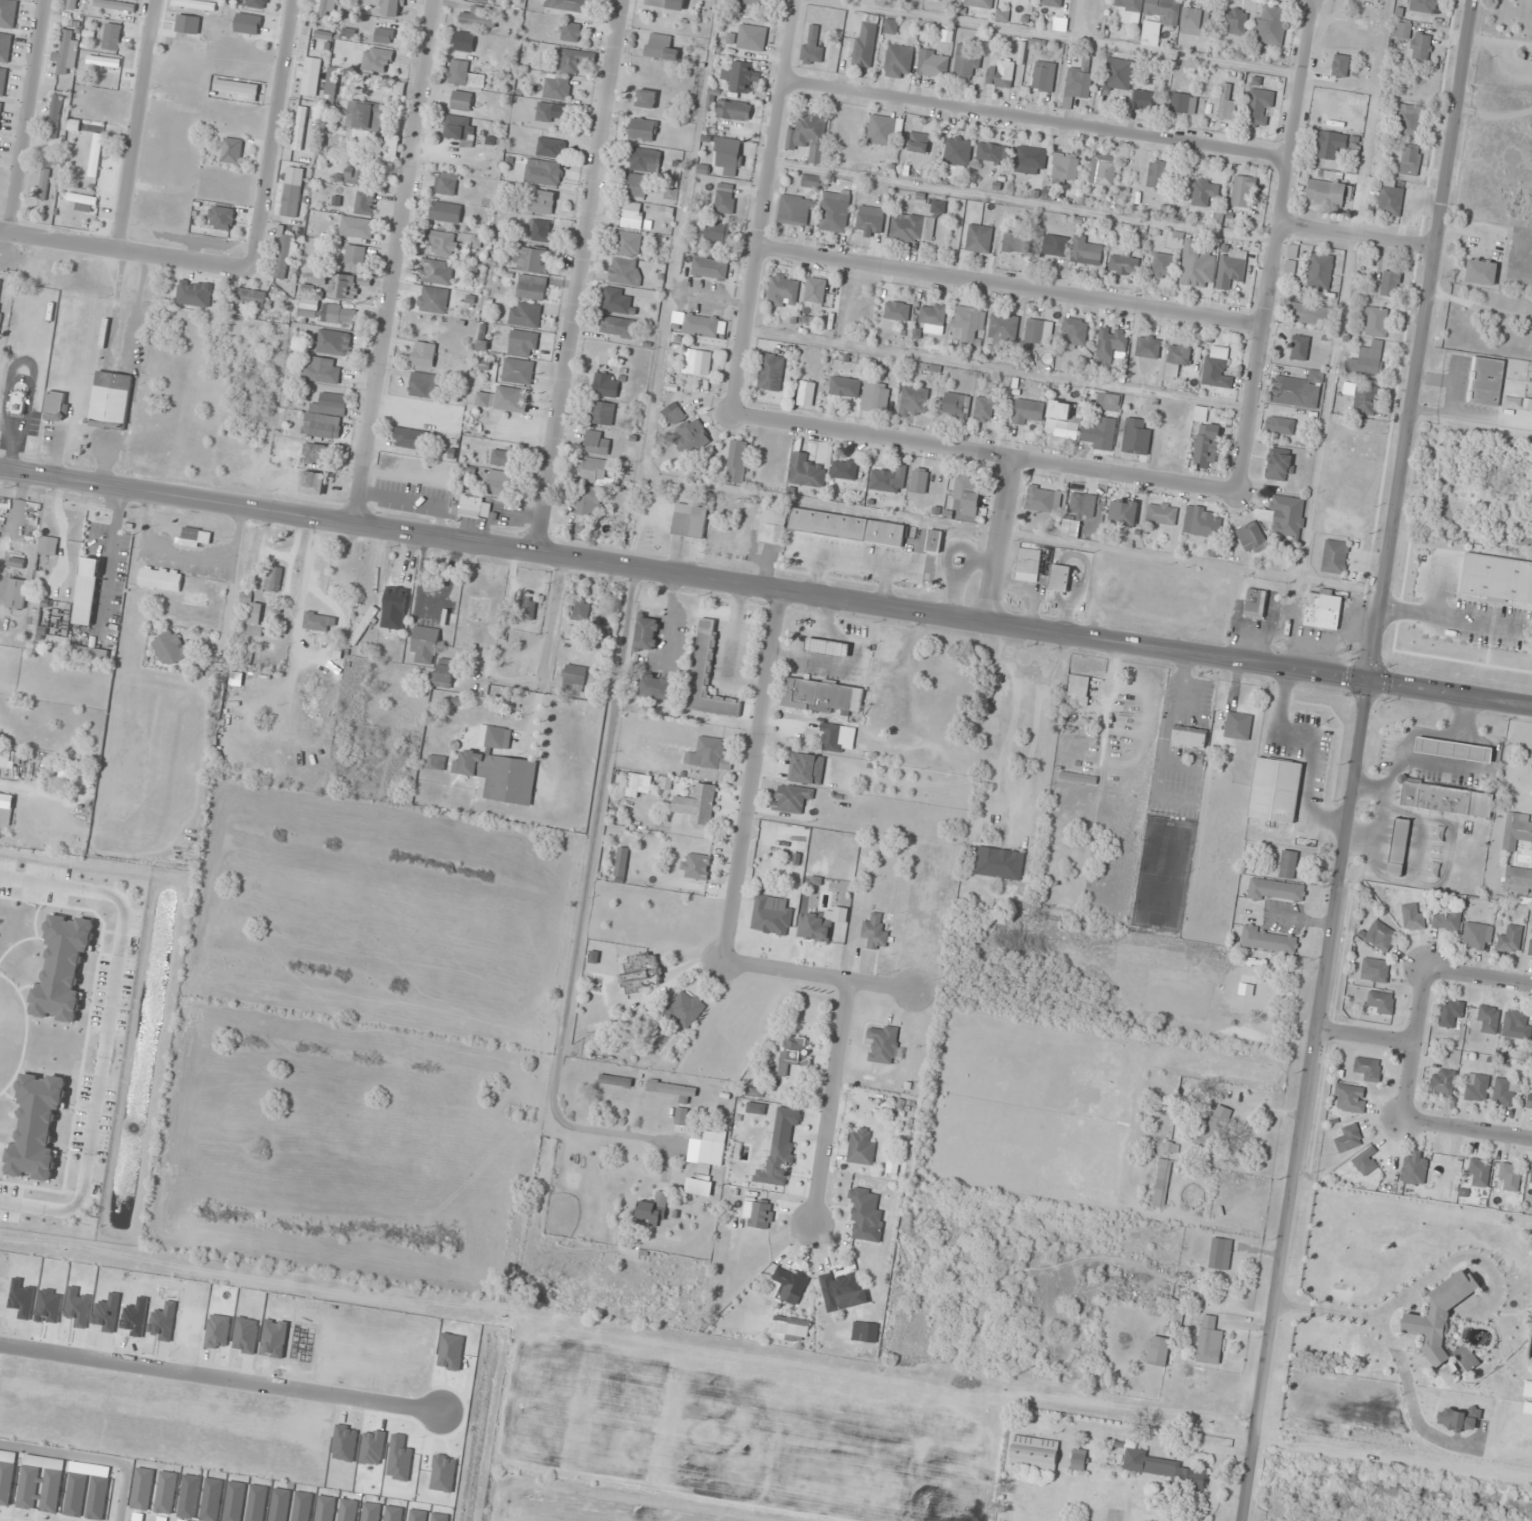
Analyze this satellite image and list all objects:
building: (482, 1)
building: (756, 2)
building: (979, 3)
building: (1052, 3)
building: (72, 4)
building: (256, 4)
building: (665, 4)
building: (572, 5)
building: (1424, 6)
building: (325, 8)
building: (393, 8)
building: (1128, 10)
building: (1162, 10)
building: (7, 13)
building: (478, 18)
building: (1195, 21)
building: (1235, 21)
building: (1375, 24)
building: (1271, 25)
building: (890, 26)
building: (570, 32)
building: (751, 38)
building: (865, 41)
building: (1415, 41)
building: (464, 42)
building: (5, 47)
building: (660, 47)
building: (66, 53)
building: (379, 53)
building: (573, 60)
building: (898, 61)
building: (966, 62)
building: (933, 64)
building: (1001, 74)
building: (1117, 74)
building: (464, 75)
building: (742, 76)
building: (1043, 77)
building: (2, 81)
building: (1078, 82)
building: (331, 83)
building: (236, 87)
building: (557, 88)
building: (646, 99)
building: (1144, 100)
building: (461, 101)
building: (1226, 103)
building: (1183, 104)
building: (0, 108)
building: (1259, 108)
building: (733, 110)
building: (552, 113)
road: (24, 116)
building: (54, 118)
building: (365, 118)
road: (1040, 121)
building: (1411, 122)
road: (133, 125)
building: (300, 128)
building: (460, 130)
building: (642, 130)
building: (884, 130)
road: (271, 133)
building: (809, 137)
building: (918, 142)
building: (1326, 145)
building: (550, 148)
building: (391, 149)
building: (231, 151)
building: (990, 153)
building: (727, 155)
building: (958, 156)
building: (643, 159)
building: (1030, 160)
building: (1410, 162)
building: (1065, 168)
building: (1103, 170)
building: (543, 173)
building: (1156, 174)
building: (355, 175)
building: (817, 182)
building: (446, 183)
building: (43, 184)
building: (636, 186)
building: (1204, 192)
building: (1243, 192)
building: (1328, 193)
building: (725, 198)
building: (290, 200)
building: (1390, 201)
building: (364, 203)
building: (543, 203)
road: (765, 205)
building: (794, 211)
building: (445, 212)
building: (834, 212)
building: (630, 215)
building: (869, 223)
building: (356, 228)
building: (912, 228)
building: (540, 231)
building: (717, 232)
road: (1357, 233)
building: (978, 239)
building: (442, 243)
building: (1016, 243)
building: (627, 244)
road: (1277, 245)
building: (1055, 246)
road: (125, 251)
building: (1086, 252)
building: (283, 257)
building: (353, 259)
building: (533, 260)
road: (391, 261)
building: (1123, 265)
building: (1162, 266)
building: (709, 267)
building: (1231, 267)
building: (1194, 268)
building: (1320, 271)
building: (437, 272)
building: (624, 272)
building: (1481, 272)
road: (579, 276)
building: (1390, 284)
building: (344, 287)
building: (531, 288)
road: (1011, 288)
building: (1, 289)
building: (783, 290)
building: (815, 291)
building: (250, 298)
building: (434, 300)
building: (618, 302)
building: (308, 308)
building: (896, 311)
building: (1310, 314)
building: (340, 315)
building: (525, 315)
building: (932, 315)
building: (1375, 322)
building: (969, 324)
building: (700, 325)
building: (617, 327)
building: (1002, 331)
building: (1074, 332)
building: (1032, 333)
building: (333, 343)
building: (522, 343)
building: (1109, 344)
building: (1147, 347)
building: (1299, 348)
building: (424, 355)
building: (1177, 358)
building: (699, 363)
building: (1365, 363)
building: (321, 370)
building: (517, 371)
building: (771, 372)
building: (1215, 373)
building: (1486, 381)
building: (423, 385)
building: (606, 385)
building: (1298, 391)
building: (806, 394)
building: (875, 397)
building: (511, 399)
building: (1365, 399)
building: (111, 400)
building: (483, 400)
building: (914, 402)
building: (1108, 403)
building: (1518, 403)
building: (56, 406)
building: (956, 407)
building: (983, 410)
building: (1028, 412)
building: (602, 414)
building: (673, 415)
building: (326, 417)
building: (1060, 421)
building: (1280, 425)
building: (1100, 434)
building: (692, 437)
building: (1136, 438)
building: (410, 439)
building: (597, 443)
building: (1362, 444)
building: (1206, 446)
building: (315, 453)
road: (983, 454)
building: (503, 458)
building: (736, 464)
building: (1280, 466)
building: (592, 470)
building: (843, 470)
building: (806, 472)
building: (888, 481)
building: (919, 481)
building: (312, 483)
building: (499, 483)
building: (967, 491)
building: (1040, 501)
building: (1082, 508)
building: (1123, 513)
building: (1161, 514)
building: (1287, 517)
building: (689, 520)
building: (773, 524)
building: (1205, 524)
building: (847, 528)
building: (1251, 537)
building: (192, 538)
road: (999, 541)
building: (934, 542)
building: (48, 546)
building: (96, 556)
building: (1334, 557)
building: (17, 561)
building: (1027, 568)
building: (160, 579)
building: (273, 579)
building: (1059, 579)
road: (765, 588)
building: (203, 589)
building: (16, 594)
building: (396, 601)
building: (1255, 602)
building: (1322, 610)
building: (581, 612)
building: (254, 619)
building: (319, 623)
building: (362, 626)
building: (646, 633)
building: (94, 638)
building: (424, 645)
building: (169, 648)
building: (827, 648)
road: (544, 652)
building: (442, 674)
building: (708, 676)
building: (574, 678)
traffic signals: (1371, 682)
building: (655, 687)
building: (1078, 692)
building: (821, 697)
building: (1238, 726)
building: (837, 738)
building: (1189, 738)
building: (1453, 750)
building: (709, 753)
building: (6, 759)
road: (1359, 760)
building: (436, 763)
building: (498, 768)
building: (806, 769)
road: (752, 776)
building: (1077, 778)
building: (1275, 790)
building: (791, 798)
building: (1447, 800)
building: (697, 803)
building: (1517, 831)
building: (1398, 848)
building: (621, 861)
building: (999, 864)
building: (1288, 865)
building: (696, 867)
building: (1518, 880)
building: (1276, 891)
building: (771, 916)
building: (1412, 918)
building: (1446, 921)
building: (820, 924)
building: (875, 933)
building: (1380, 936)
building: (1477, 937)
building: (1510, 940)
building: (1269, 941)
building: (1530, 947)
building: (1374, 970)
building: (641, 973)
road: (821, 977)
road: (1479, 978)
building: (1380, 1003)
building: (685, 1010)
building: (1450, 1013)
building: (1488, 1019)
building: (1516, 1025)
road: (1366, 1037)
road: (1413, 1043)
building: (884, 1045)
building: (793, 1054)
building: (1368, 1069)
building: (615, 1081)
building: (1442, 1083)
building: (1476, 1088)
building: (673, 1090)
building: (1506, 1092)
building: (1349, 1099)
road: (833, 1101)
building: (1529, 1102)
building: (680, 1117)
building: (1211, 1127)
road: (1467, 1128)
building: (1348, 1138)
building: (860, 1147)
building: (711, 1150)
building: (1365, 1161)
building: (1414, 1168)
building: (1478, 1172)
building: (1510, 1178)
building: (1531, 1182)
building: (653, 1208)
building: (1220, 1254)
building: (788, 1285)
building: (842, 1291)
building: (1440, 1316)
building: (790, 1329)
building: (864, 1332)
building: (1209, 1341)
building: (1158, 1352)
road: (220, 1383)
building: (1033, 1453)
road: (1393, 1454)
road: (93, 1457)
building: (1078, 1460)
building: (1161, 1468)

